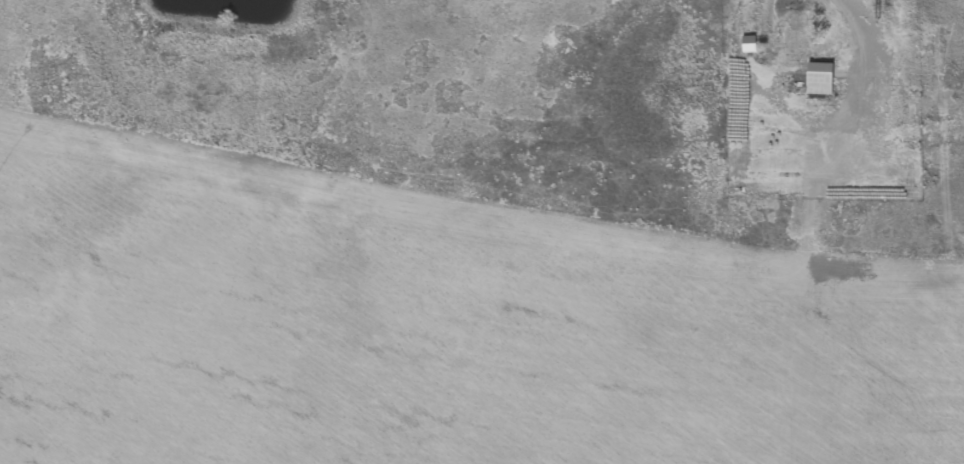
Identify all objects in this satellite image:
building: (748, 46)
building: (819, 81)

